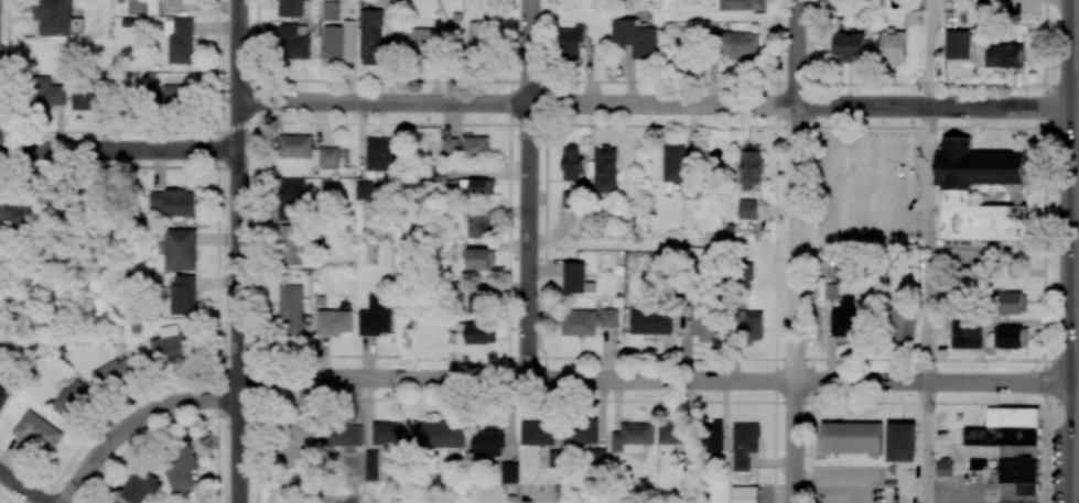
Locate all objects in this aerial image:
building: (742, 4)
building: (138, 7)
building: (290, 8)
building: (330, 10)
building: (53, 17)
building: (371, 36)
building: (478, 36)
building: (635, 37)
building: (180, 41)
building: (293, 41)
building: (338, 42)
building: (570, 42)
building: (424, 43)
building: (957, 44)
building: (738, 45)
building: (893, 46)
building: (850, 47)
road: (932, 53)
road: (1072, 54)
building: (1005, 56)
road: (1076, 58)
road: (1061, 85)
building: (47, 91)
building: (168, 91)
building: (88, 97)
road: (658, 103)
road: (1061, 128)
road: (882, 144)
building: (475, 145)
building: (449, 146)
road: (119, 149)
building: (306, 150)
building: (378, 154)
building: (673, 163)
building: (572, 164)
building: (751, 165)
building: (605, 170)
building: (433, 177)
building: (482, 187)
road: (529, 188)
building: (365, 189)
road: (882, 189)
building: (981, 193)
building: (290, 198)
building: (569, 199)
building: (172, 203)
building: (747, 209)
building: (11, 214)
road: (881, 215)
building: (478, 225)
road: (1078, 229)
building: (289, 244)
building: (180, 250)
road: (238, 251)
road: (796, 251)
road: (1044, 251)
building: (481, 259)
building: (745, 271)
building: (575, 277)
building: (831, 291)
building: (183, 294)
road: (1078, 296)
building: (477, 300)
building: (953, 302)
building: (1010, 303)
road: (1077, 305)
building: (291, 309)
building: (376, 316)
building: (702, 319)
building: (846, 319)
building: (335, 321)
building: (587, 321)
building: (650, 321)
building: (752, 325)
building: (902, 326)
building: (475, 333)
building: (965, 335)
building: (1013, 337)
building: (171, 347)
road: (927, 358)
road: (1060, 360)
building: (112, 372)
road: (657, 379)
road: (1078, 382)
building: (3, 397)
building: (72, 401)
road: (1060, 403)
road: (134, 422)
building: (1005, 427)
building: (37, 431)
building: (582, 431)
building: (537, 433)
building: (670, 433)
building: (386, 434)
building: (438, 434)
building: (632, 435)
building: (342, 436)
building: (712, 436)
building: (852, 437)
building: (296, 442)
building: (900, 442)
building: (487, 444)
building: (743, 445)
building: (598, 458)
building: (945, 468)
building: (180, 469)
building: (509, 472)
building: (1018, 480)
building: (141, 486)
road: (21, 488)
building: (744, 494)
building: (112, 502)

